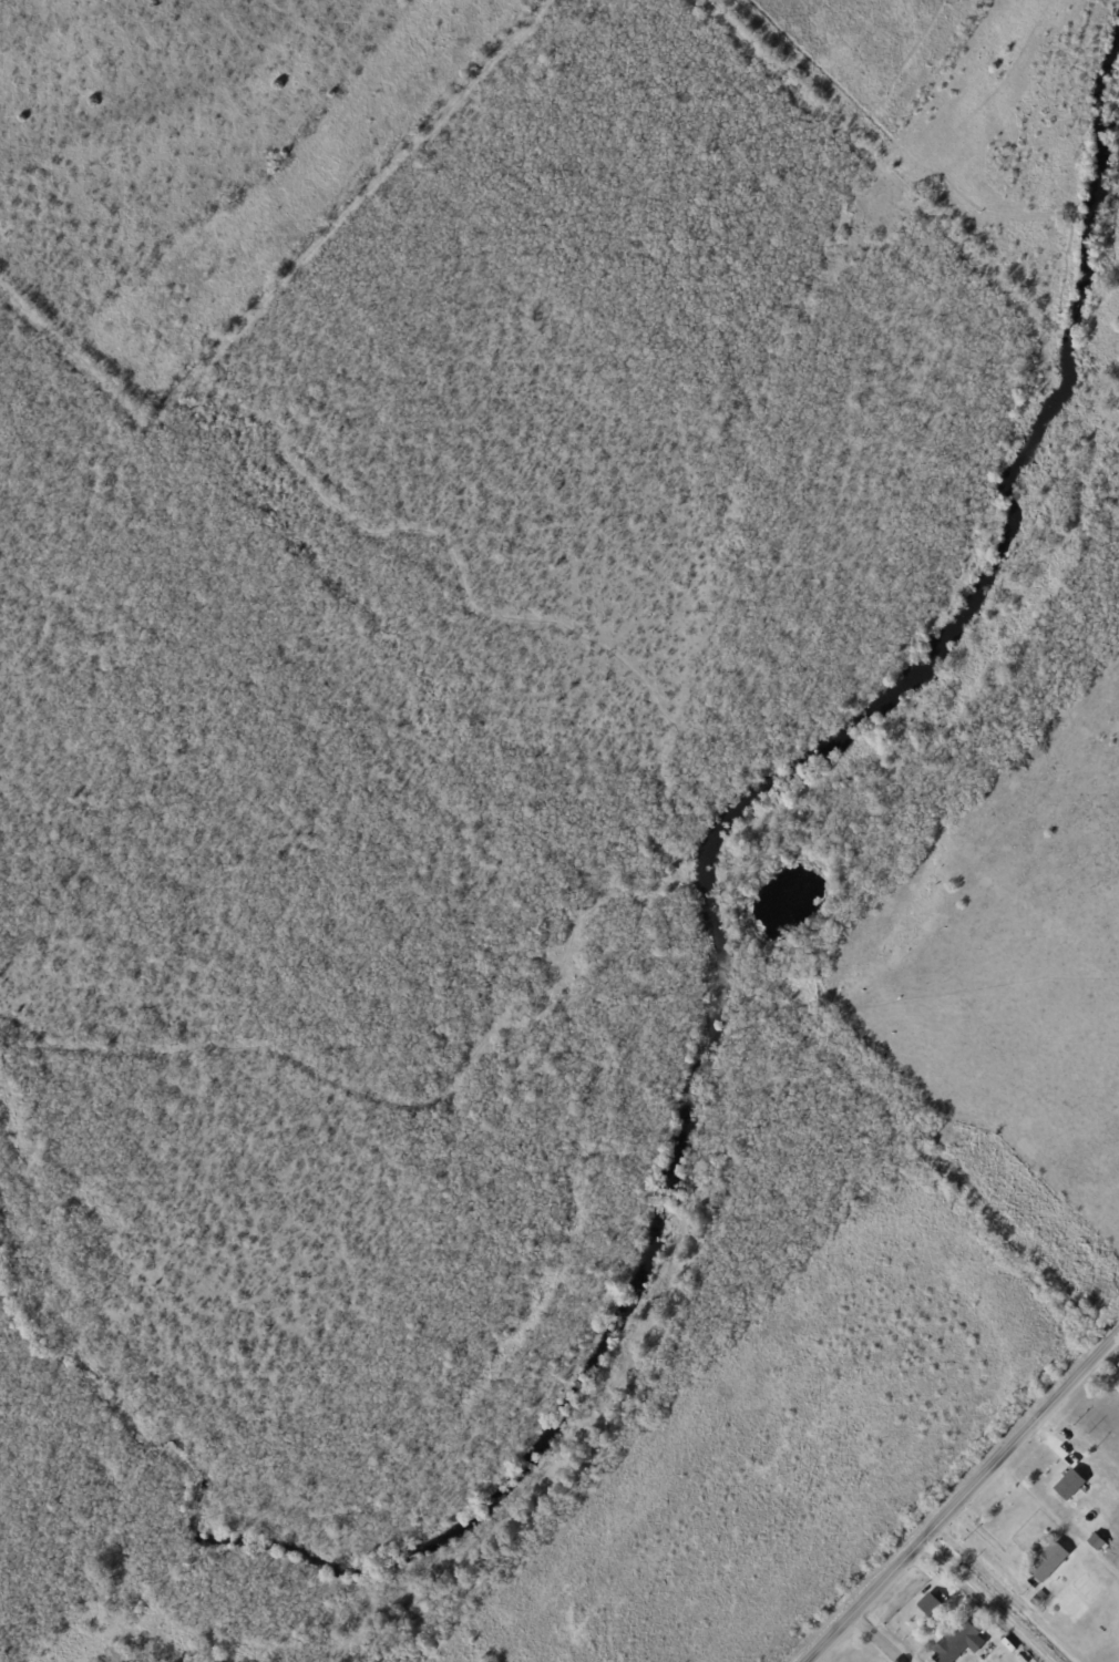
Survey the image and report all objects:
road: (1102, 1374)
building: (1071, 1485)
road: (961, 1492)
building: (1050, 1562)
road: (1002, 1593)
road: (983, 1600)
building: (1038, 1601)
building: (932, 1604)
building: (958, 1644)

